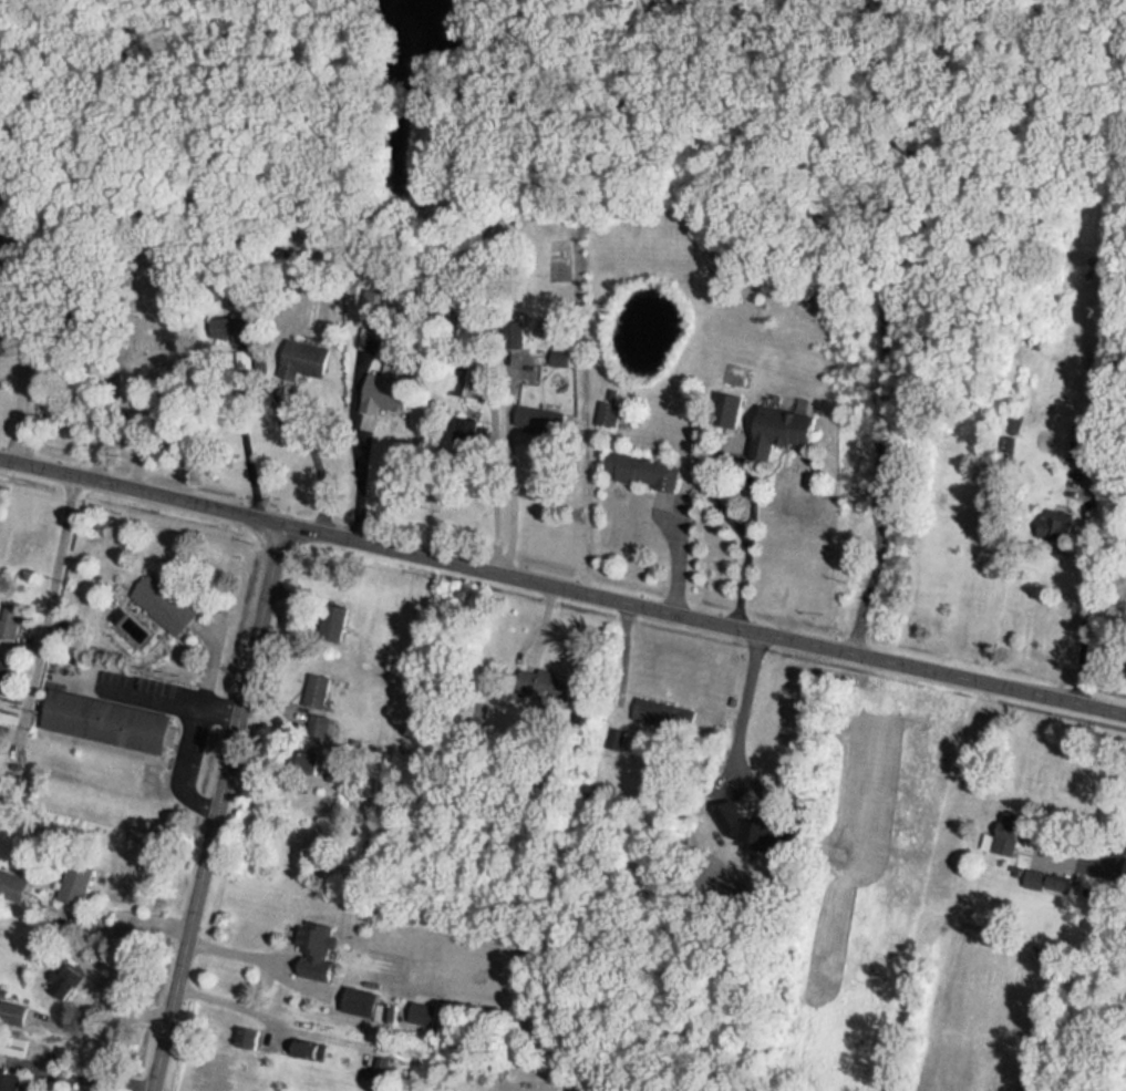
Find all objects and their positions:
building: (225, 322)
road: (875, 330)
building: (300, 351)
road: (14, 378)
building: (722, 402)
building: (535, 411)
building: (776, 423)
building: (641, 466)
road: (318, 477)
road: (495, 481)
road: (357, 485)
road: (710, 498)
road: (562, 594)
building: (164, 606)
road: (45, 609)
building: (328, 615)
road: (1082, 625)
building: (331, 626)
building: (531, 675)
building: (314, 692)
road: (735, 711)
building: (105, 723)
building: (317, 727)
road: (178, 749)
building: (306, 764)
road: (215, 810)
road: (1118, 843)
building: (17, 879)
building: (311, 941)
road: (254, 965)
building: (60, 974)
building: (357, 994)
building: (10, 1005)
building: (242, 1029)
building: (11, 1038)
road: (79, 1078)
building: (6, 1079)

